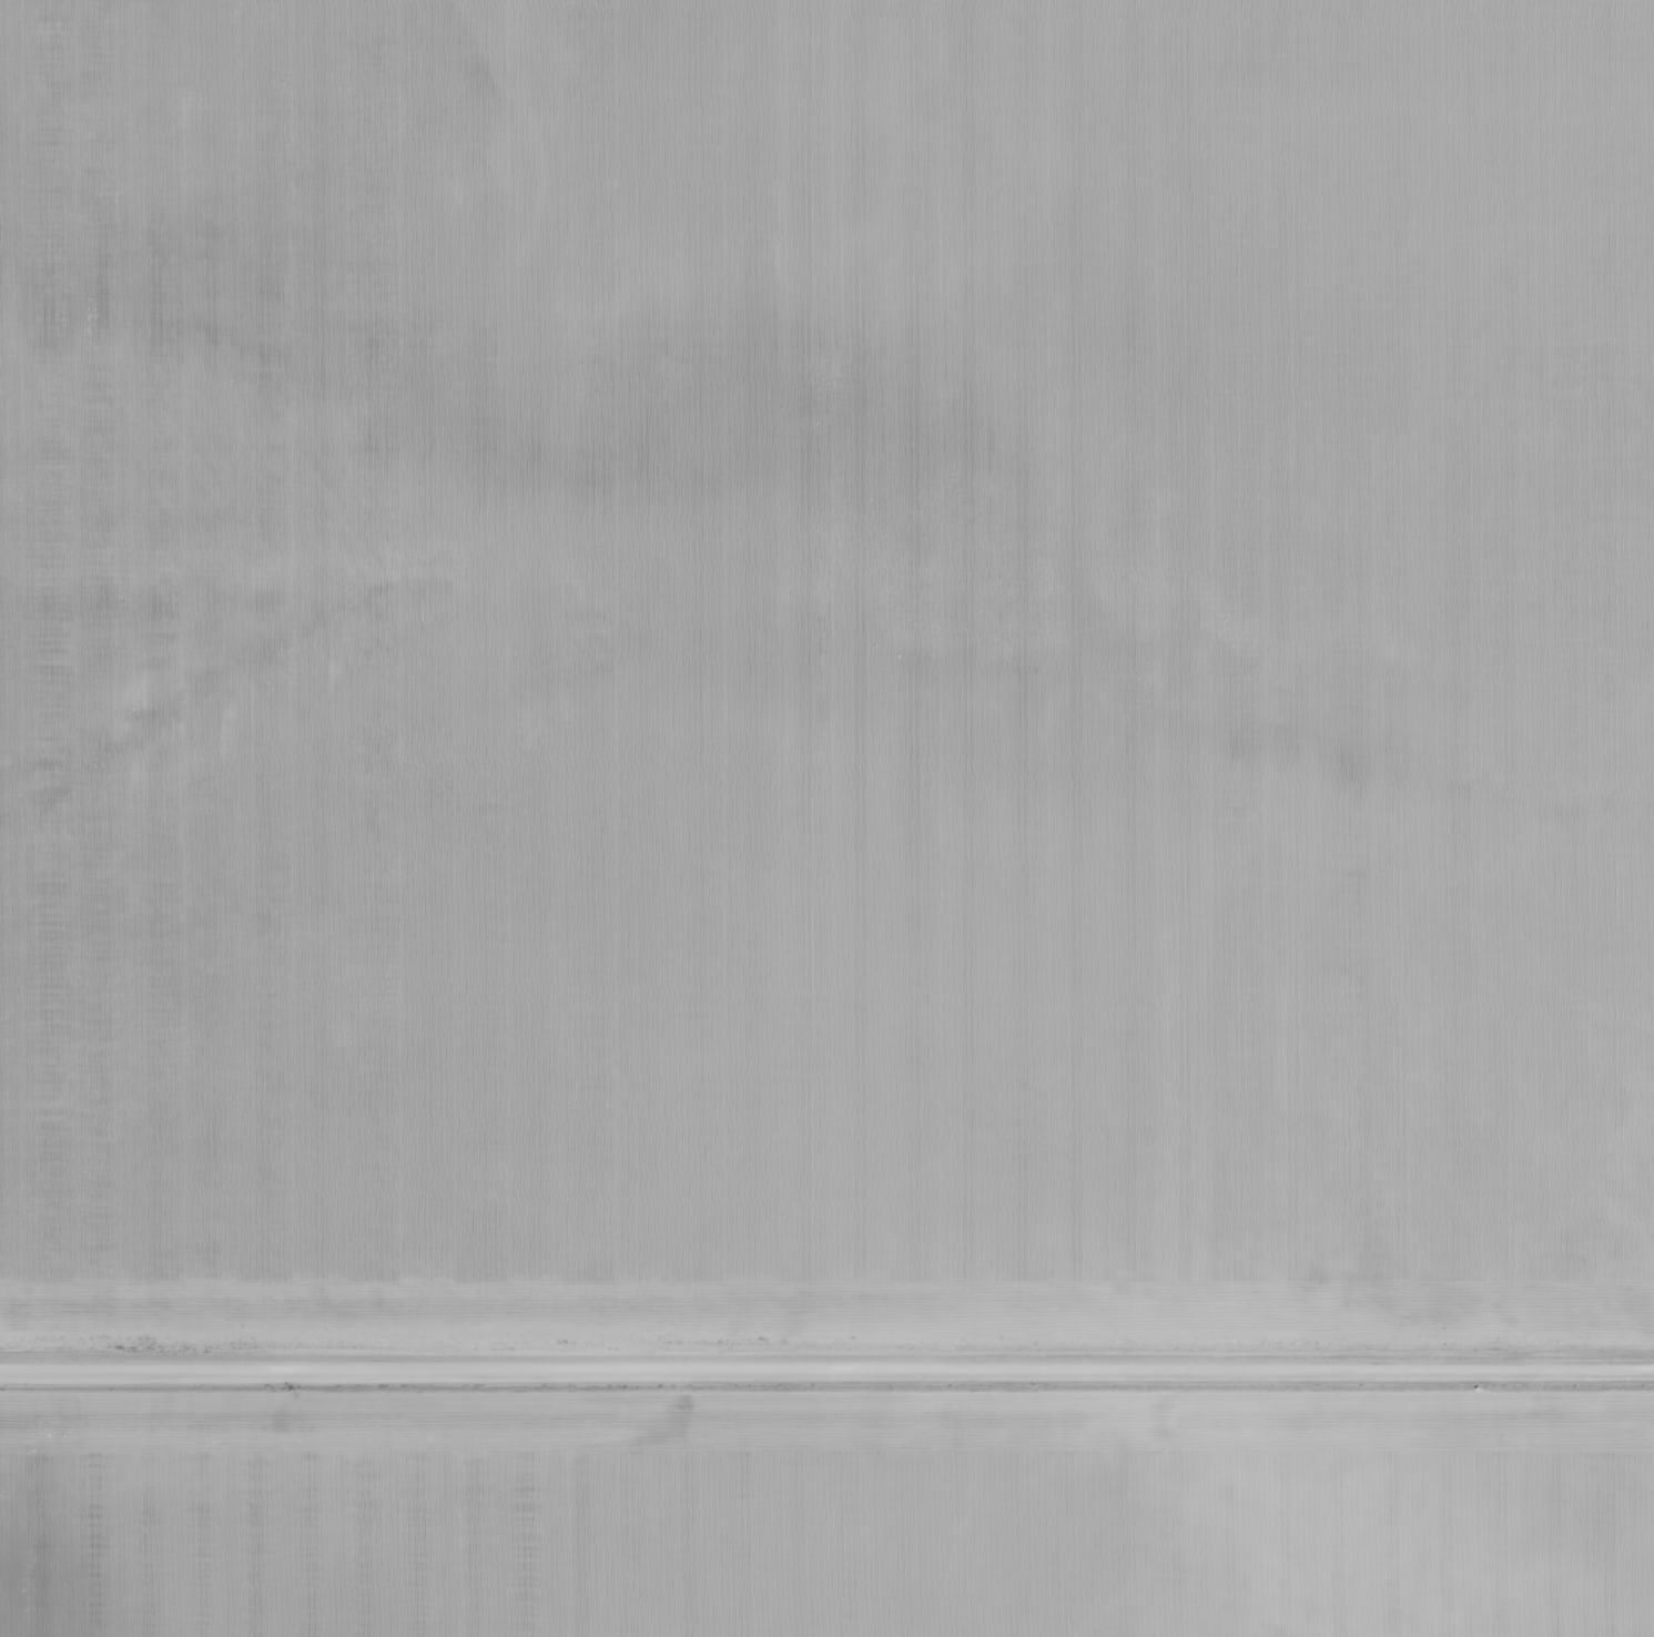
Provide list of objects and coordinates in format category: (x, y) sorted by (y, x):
road: (826, 1353)

